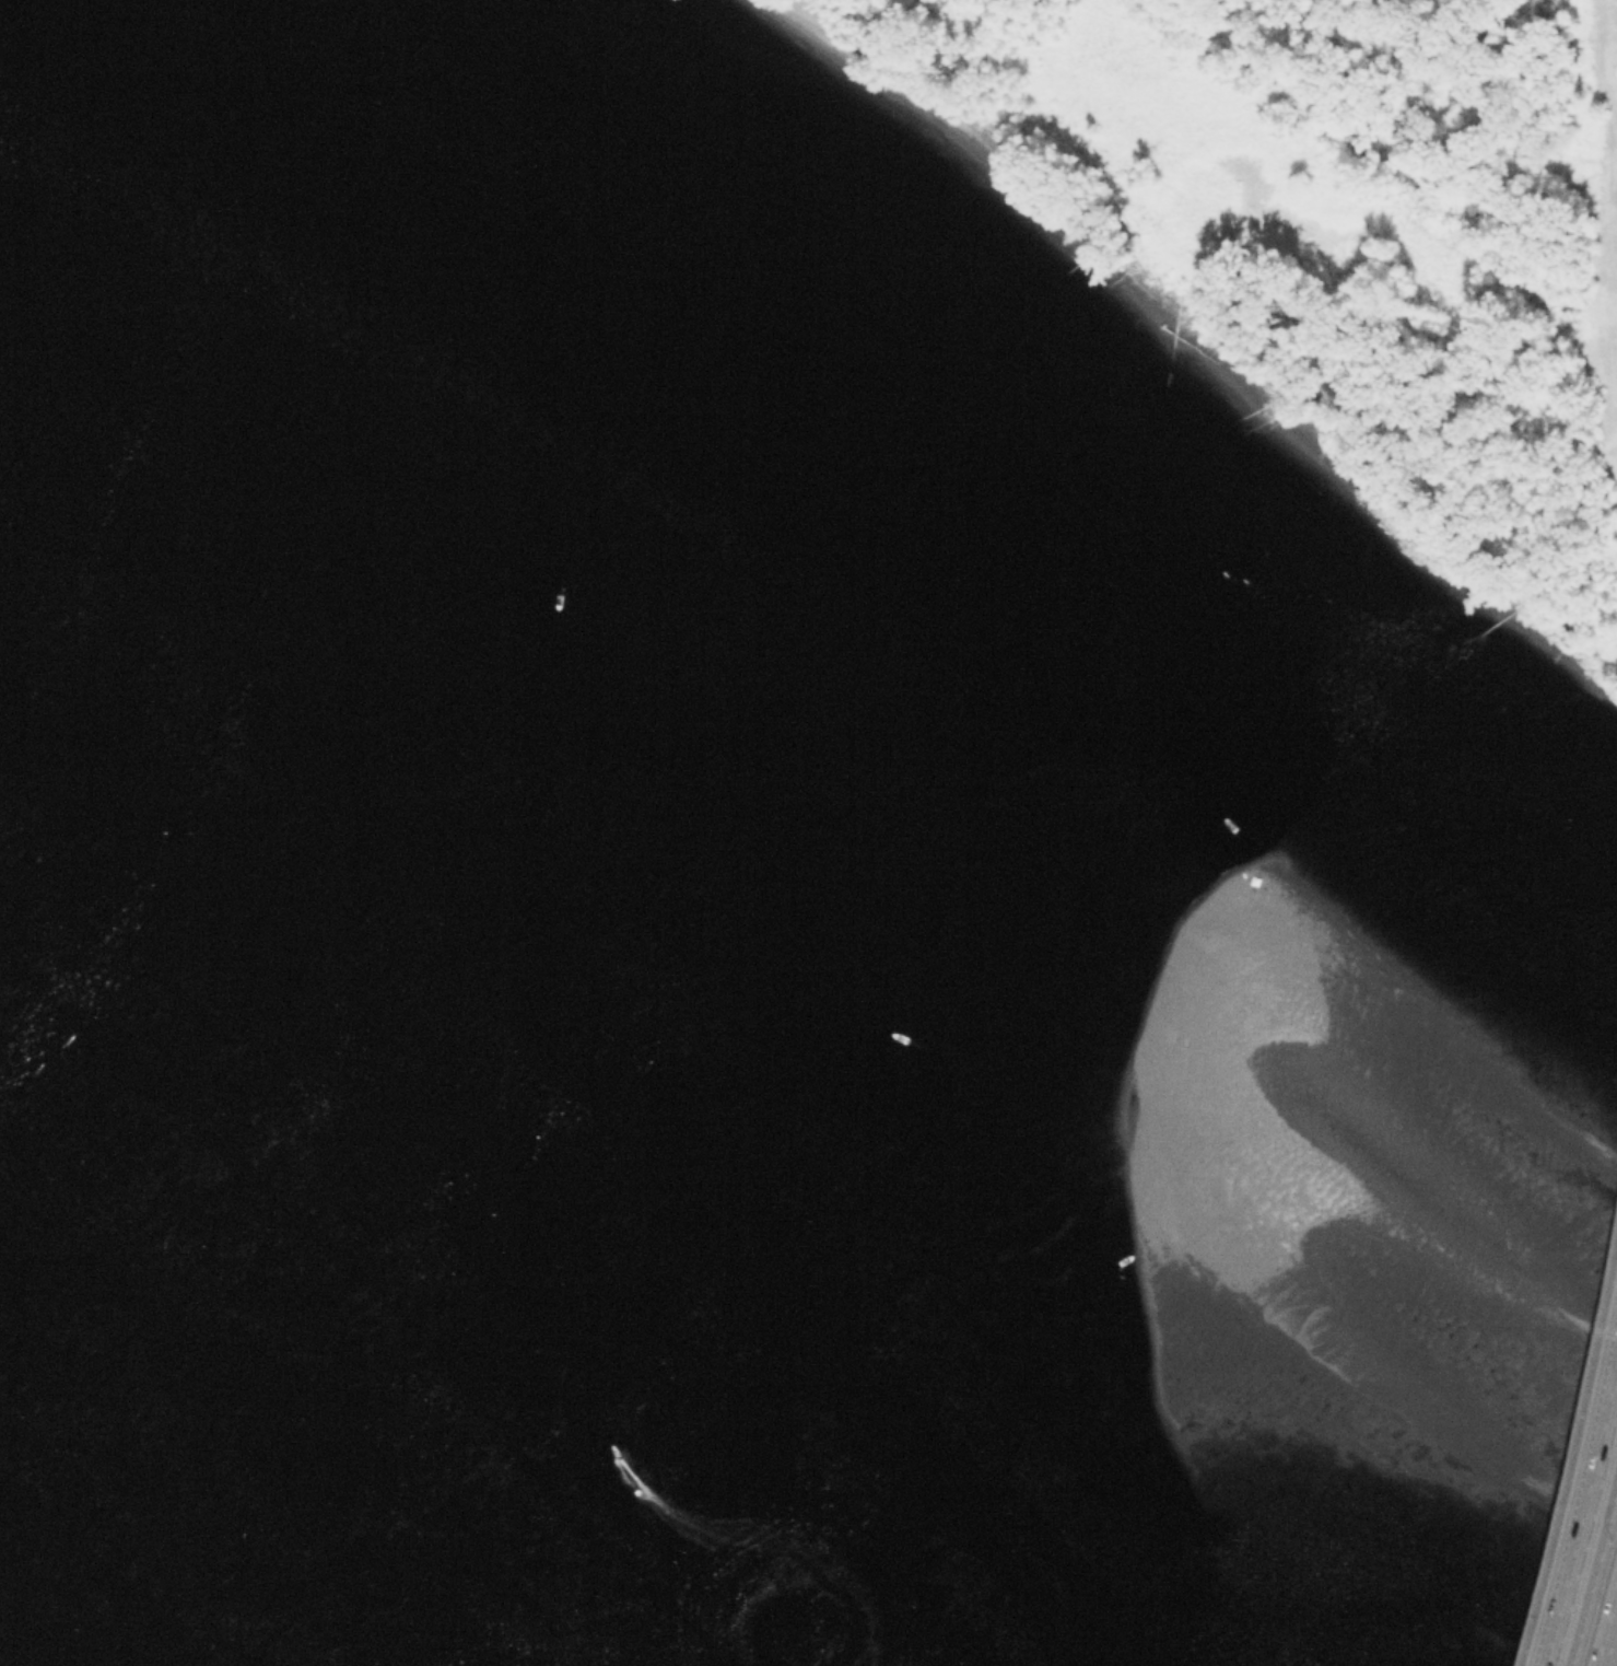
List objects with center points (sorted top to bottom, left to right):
road: (1585, 1536)
road: (1595, 1580)
road: (1605, 1621)

